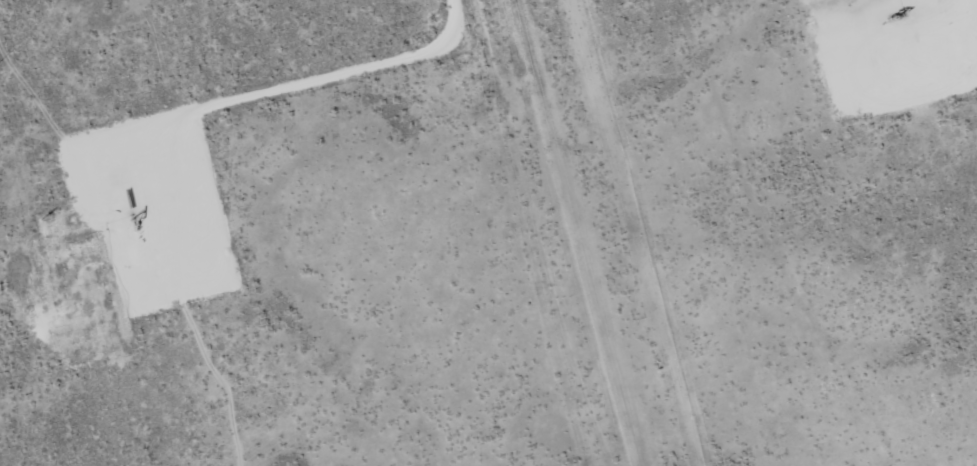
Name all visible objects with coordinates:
road: (276, 85)

